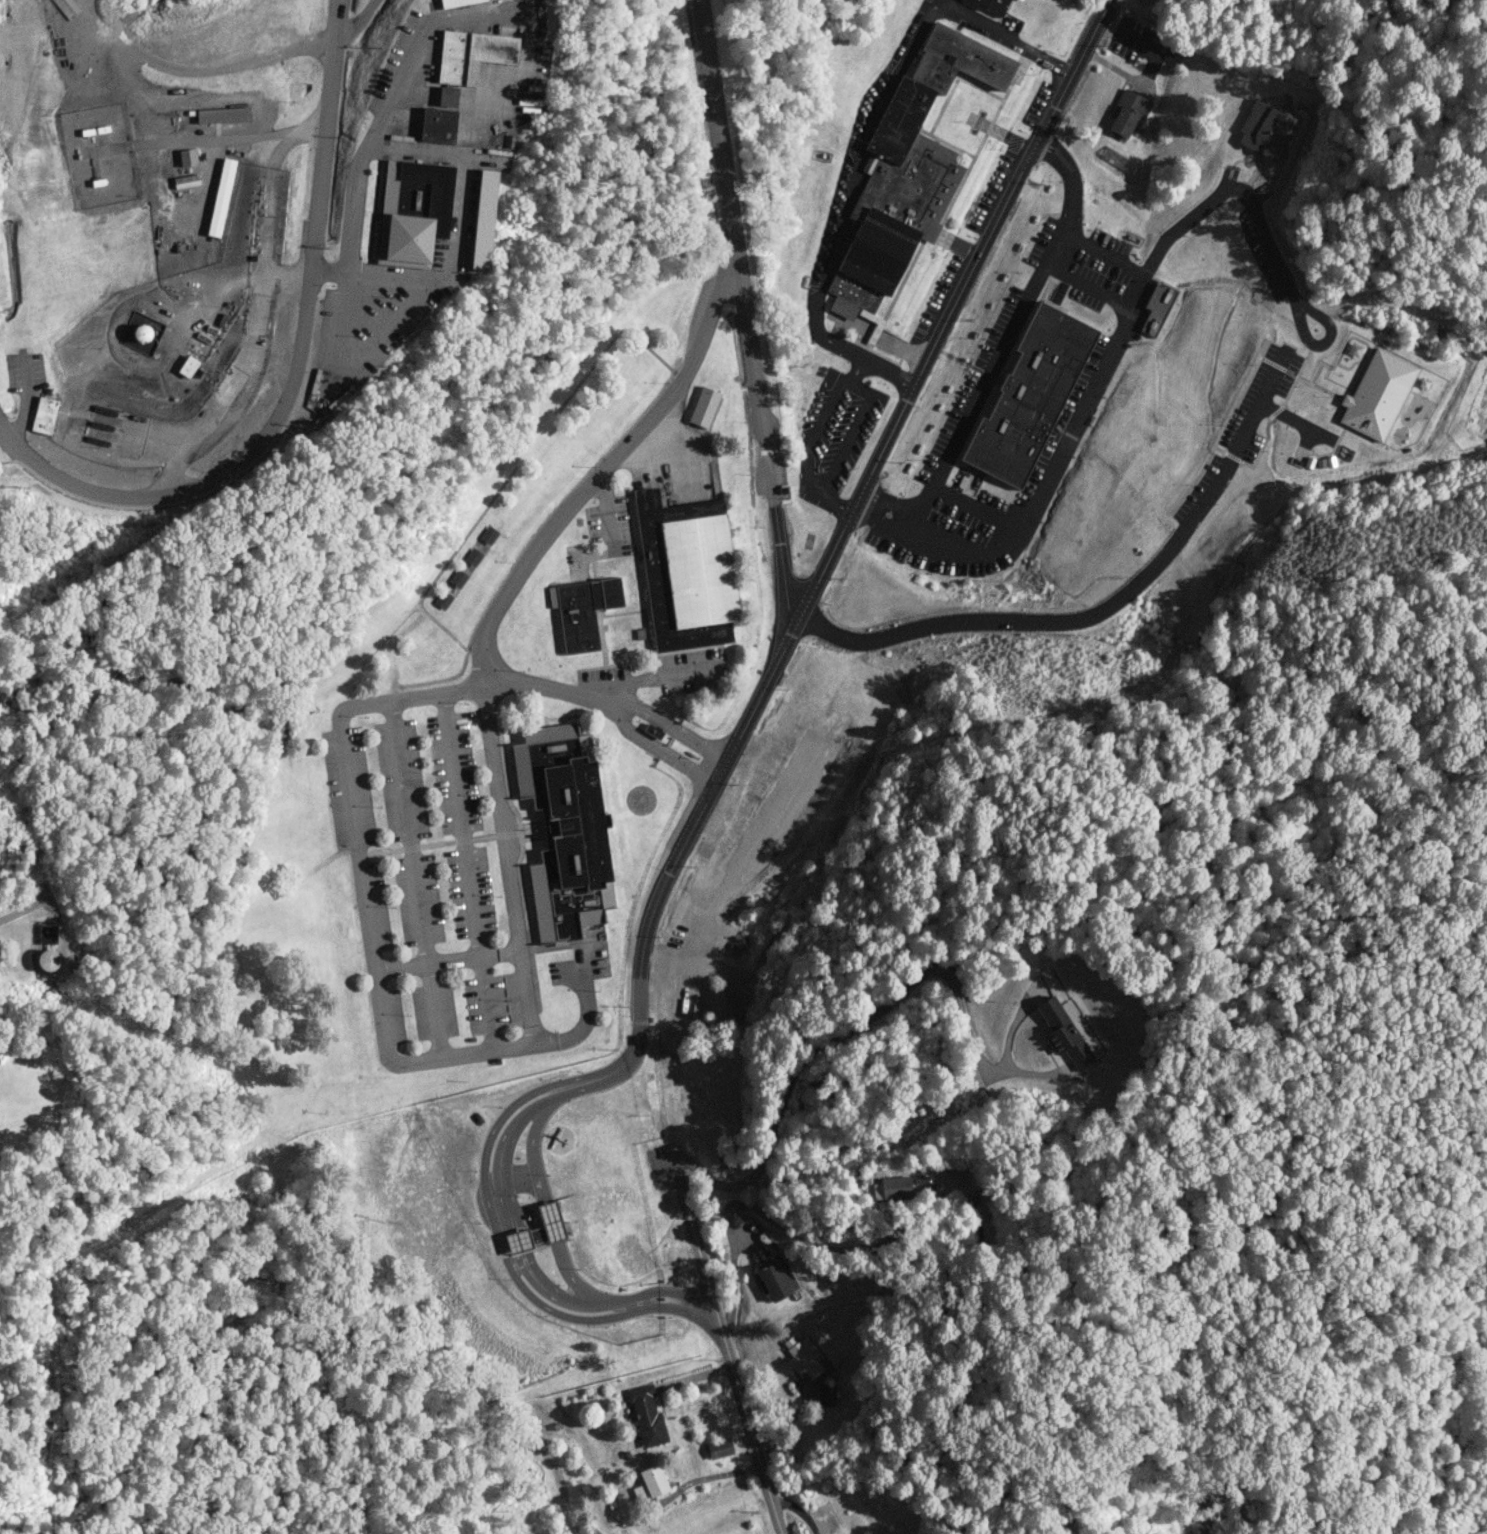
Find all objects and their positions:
road: (939, 0)
building: (1020, 0)
building: (454, 2)
building: (989, 6)
road: (356, 24)
road: (1107, 27)
road: (1005, 36)
road: (1135, 43)
building: (485, 52)
building: (450, 57)
road: (521, 67)
road: (1127, 75)
building: (444, 98)
building: (1126, 113)
building: (434, 125)
building: (1266, 129)
road: (864, 140)
park: (1375, 145)
building: (188, 157)
building: (909, 168)
road: (1068, 171)
road: (459, 175)
building: (221, 197)
building: (409, 212)
road: (1190, 216)
building: (478, 221)
road: (730, 245)
road: (347, 246)
road: (1271, 247)
road: (1102, 255)
road: (328, 271)
road: (1090, 280)
road: (1323, 341)
road: (846, 351)
building: (188, 366)
road: (852, 371)
road: (295, 373)
building: (1423, 383)
road: (847, 385)
road: (984, 389)
building: (1028, 395)
building: (1376, 395)
road: (1082, 404)
building: (701, 406)
building: (44, 415)
road: (1293, 421)
road: (1240, 445)
road: (599, 475)
road: (839, 506)
road: (976, 513)
road: (940, 551)
road: (781, 561)
road: (826, 563)
building: (693, 569)
road: (617, 595)
building: (551, 597)
building: (442, 599)
building: (575, 617)
road: (1007, 620)
road: (530, 661)
road: (674, 673)
road: (520, 684)
road: (405, 698)
road: (632, 709)
road: (620, 725)
road: (694, 741)
road: (681, 763)
building: (564, 830)
road: (506, 860)
road: (468, 871)
parking lot: (418, 877)
road: (413, 880)
road: (361, 885)
road: (23, 909)
building: (47, 934)
road: (667, 957)
water tower: (45, 961)
road: (427, 964)
building: (1063, 1033)
road: (833, 1037)
road: (519, 1047)
road: (1005, 1057)
park: (1164, 1071)
road: (530, 1147)
road: (485, 1154)
road: (509, 1155)
road: (493, 1172)
building: (891, 1188)
road: (551, 1221)
building: (537, 1230)
road: (522, 1239)
road: (511, 1242)
road: (854, 1251)
road: (570, 1277)
building: (775, 1280)
road: (552, 1286)
road: (544, 1292)
road: (649, 1292)
road: (732, 1295)
road: (595, 1319)
road: (725, 1341)
building: (802, 1356)
building: (825, 1394)
building: (647, 1415)
building: (718, 1448)
building: (626, 1454)
building: (650, 1483)
building: (805, 1492)
building: (826, 1520)

